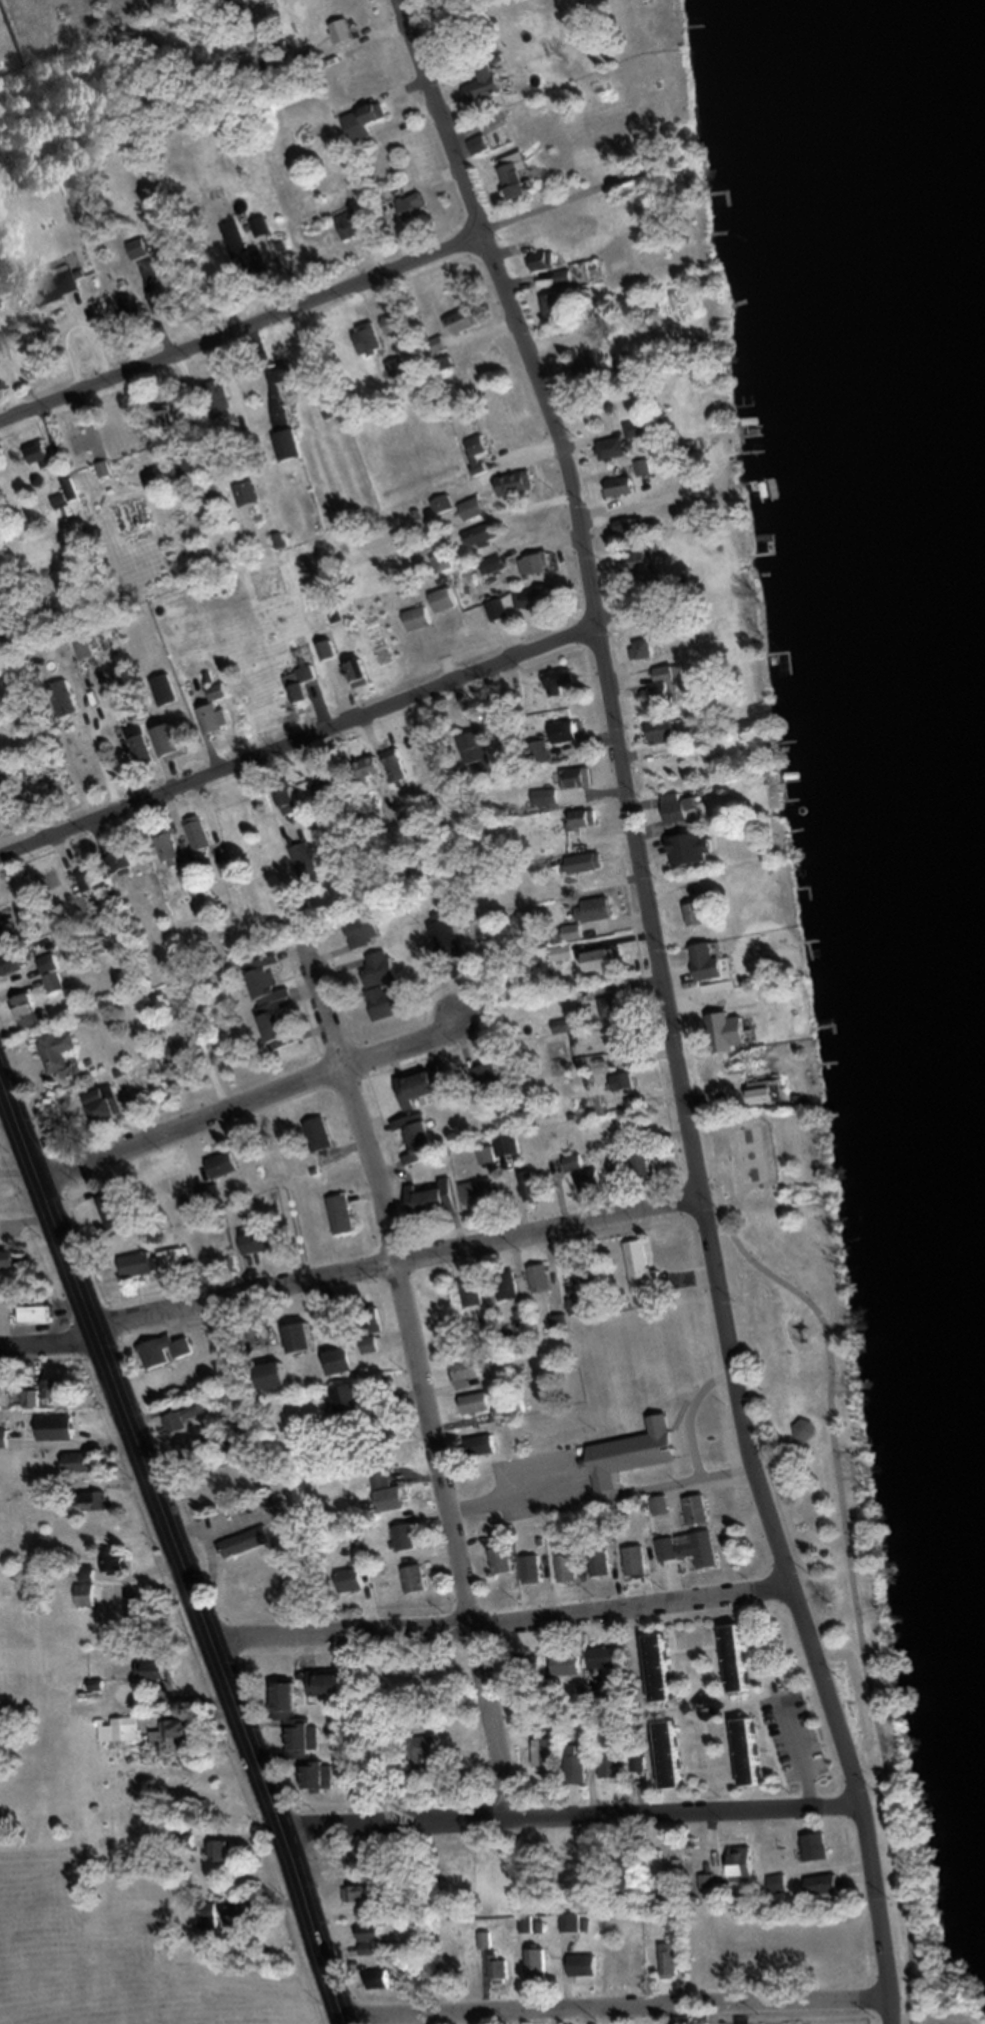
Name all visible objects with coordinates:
building: (343, 29)
building: (488, 79)
building: (366, 118)
building: (521, 176)
building: (416, 204)
building: (353, 222)
building: (260, 224)
building: (142, 247)
building: (245, 247)
building: (544, 258)
building: (568, 275)
building: (56, 286)
road: (321, 297)
building: (171, 300)
building: (555, 304)
building: (137, 307)
building: (466, 319)
building: (394, 323)
building: (370, 338)
building: (3, 342)
building: (439, 343)
building: (449, 362)
building: (590, 364)
building: (402, 373)
building: (218, 395)
building: (168, 417)
building: (643, 427)
building: (288, 444)
building: (615, 447)
building: (478, 450)
building: (45, 455)
building: (189, 465)
building: (649, 466)
building: (105, 468)
building: (517, 481)
building: (625, 485)
building: (67, 494)
building: (474, 507)
building: (627, 526)
building: (485, 534)
building: (445, 561)
building: (538, 563)
building: (640, 563)
building: (540, 597)
building: (446, 599)
building: (499, 608)
building: (418, 617)
building: (86, 644)
building: (646, 648)
building: (328, 650)
building: (359, 670)
building: (559, 680)
building: (664, 685)
building: (297, 688)
building: (64, 698)
building: (131, 701)
building: (567, 731)
building: (670, 731)
building: (173, 736)
road: (297, 739)
building: (143, 741)
building: (478, 755)
building: (396, 765)
building: (579, 776)
building: (331, 777)
road: (624, 783)
building: (292, 799)
building: (684, 807)
building: (332, 809)
building: (584, 819)
building: (413, 826)
building: (202, 832)
building: (171, 847)
building: (700, 848)
building: (305, 860)
building: (126, 861)
building: (589, 861)
building: (231, 871)
building: (89, 876)
building: (194, 878)
building: (24, 906)
building: (600, 908)
building: (704, 908)
building: (527, 916)
building: (364, 928)
building: (7, 931)
building: (447, 932)
building: (604, 959)
building: (712, 961)
building: (14, 962)
building: (381, 967)
building: (54, 972)
building: (389, 1001)
building: (617, 1006)
building: (275, 1007)
building: (32, 1010)
building: (567, 1024)
building: (726, 1042)
building: (624, 1045)
building: (191, 1048)
building: (59, 1049)
building: (494, 1077)
building: (624, 1081)
building: (433, 1082)
building: (766, 1092)
road: (251, 1096)
building: (109, 1102)
building: (420, 1130)
building: (320, 1133)
building: (500, 1148)
building: (227, 1162)
building: (649, 1164)
building: (620, 1175)
building: (592, 1179)
building: (528, 1186)
building: (482, 1190)
building: (434, 1198)
building: (115, 1204)
building: (342, 1212)
building: (264, 1236)
building: (12, 1256)
building: (175, 1257)
road: (395, 1257)
building: (140, 1262)
building: (583, 1267)
building: (644, 1267)
building: (540, 1276)
building: (508, 1283)
building: (472, 1291)
building: (578, 1304)
building: (42, 1312)
building: (525, 1314)
building: (492, 1321)
building: (560, 1321)
building: (309, 1335)
road: (48, 1339)
building: (168, 1349)
building: (349, 1358)
building: (468, 1367)
building: (282, 1373)
road: (415, 1375)
building: (62, 1387)
building: (32, 1396)
building: (350, 1397)
building: (478, 1401)
road: (691, 1401)
building: (516, 1403)
building: (193, 1412)
building: (59, 1425)
building: (806, 1427)
building: (5, 1437)
building: (633, 1437)
building: (484, 1444)
building: (188, 1449)
building: (82, 1460)
road: (599, 1485)
building: (393, 1496)
building: (87, 1499)
building: (662, 1504)
building: (700, 1508)
building: (608, 1522)
building: (407, 1535)
building: (248, 1539)
road: (176, 1547)
building: (694, 1547)
building: (503, 1559)
building: (639, 1559)
building: (115, 1560)
building: (602, 1561)
building: (568, 1566)
building: (532, 1568)
road: (852, 1572)
building: (415, 1577)
building: (354, 1578)
building: (140, 1606)
road: (500, 1614)
building: (606, 1655)
building: (741, 1656)
building: (571, 1663)
building: (529, 1664)
building: (662, 1665)
building: (157, 1669)
building: (332, 1682)
building: (292, 1695)
building: (617, 1701)
building: (127, 1726)
building: (307, 1732)
building: (181, 1734)
road: (798, 1740)
building: (752, 1750)
building: (545, 1751)
building: (674, 1753)
building: (610, 1762)
building: (578, 1765)
building: (641, 1767)
building: (325, 1776)
road: (860, 1799)
road: (571, 1808)
building: (819, 1845)
building: (225, 1849)
building: (628, 1852)
building: (745, 1862)
building: (710, 1880)
building: (780, 1881)
building: (824, 1883)
building: (366, 1891)
building: (255, 1913)
building: (573, 1920)
building: (674, 1921)
building: (379, 1930)
building: (486, 1938)
building: (375, 1947)
building: (669, 1958)
building: (540, 1963)
building: (586, 1964)
building: (499, 1967)
building: (389, 1977)
road: (611, 1993)
road: (739, 2007)
road: (773, 2017)

